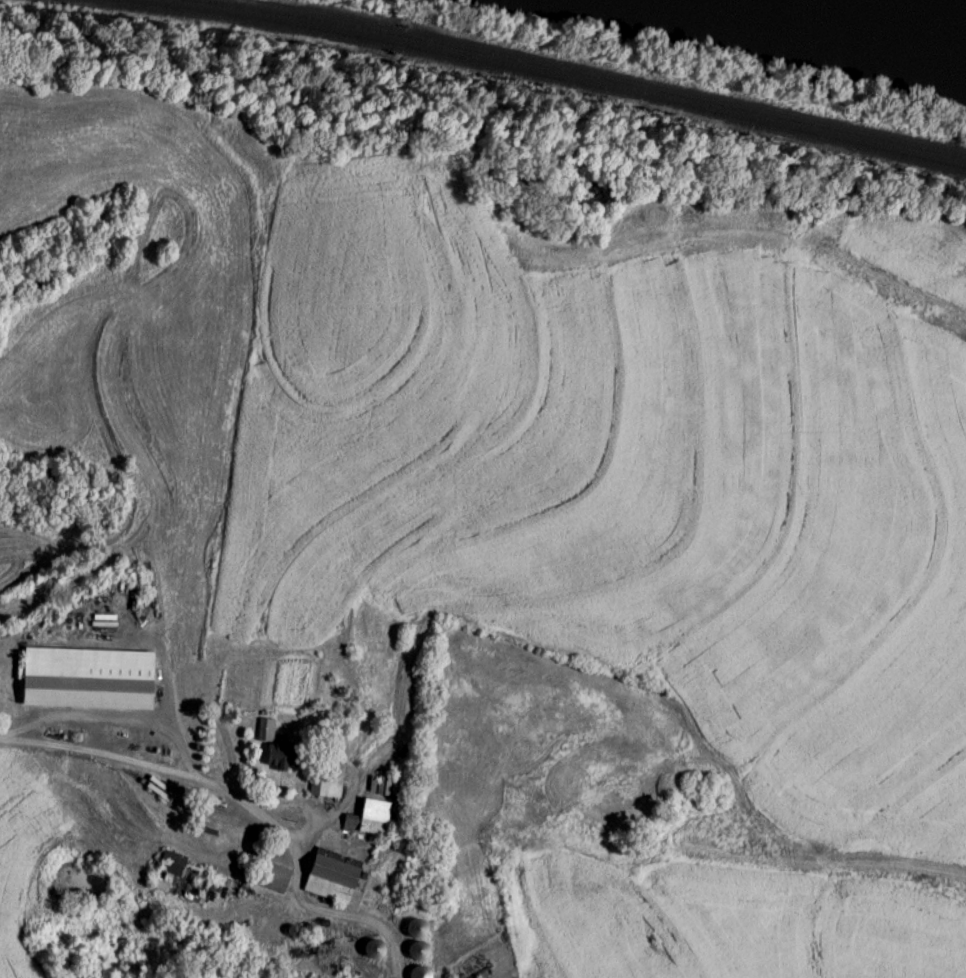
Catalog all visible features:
railway: (582, 72)
railway: (532, 74)
building: (88, 681)
road: (113, 720)
building: (279, 752)
road: (132, 761)
building: (330, 783)
building: (369, 820)
building: (332, 878)
building: (276, 880)
building: (190, 883)
building: (418, 942)
building: (375, 949)
building: (423, 974)

